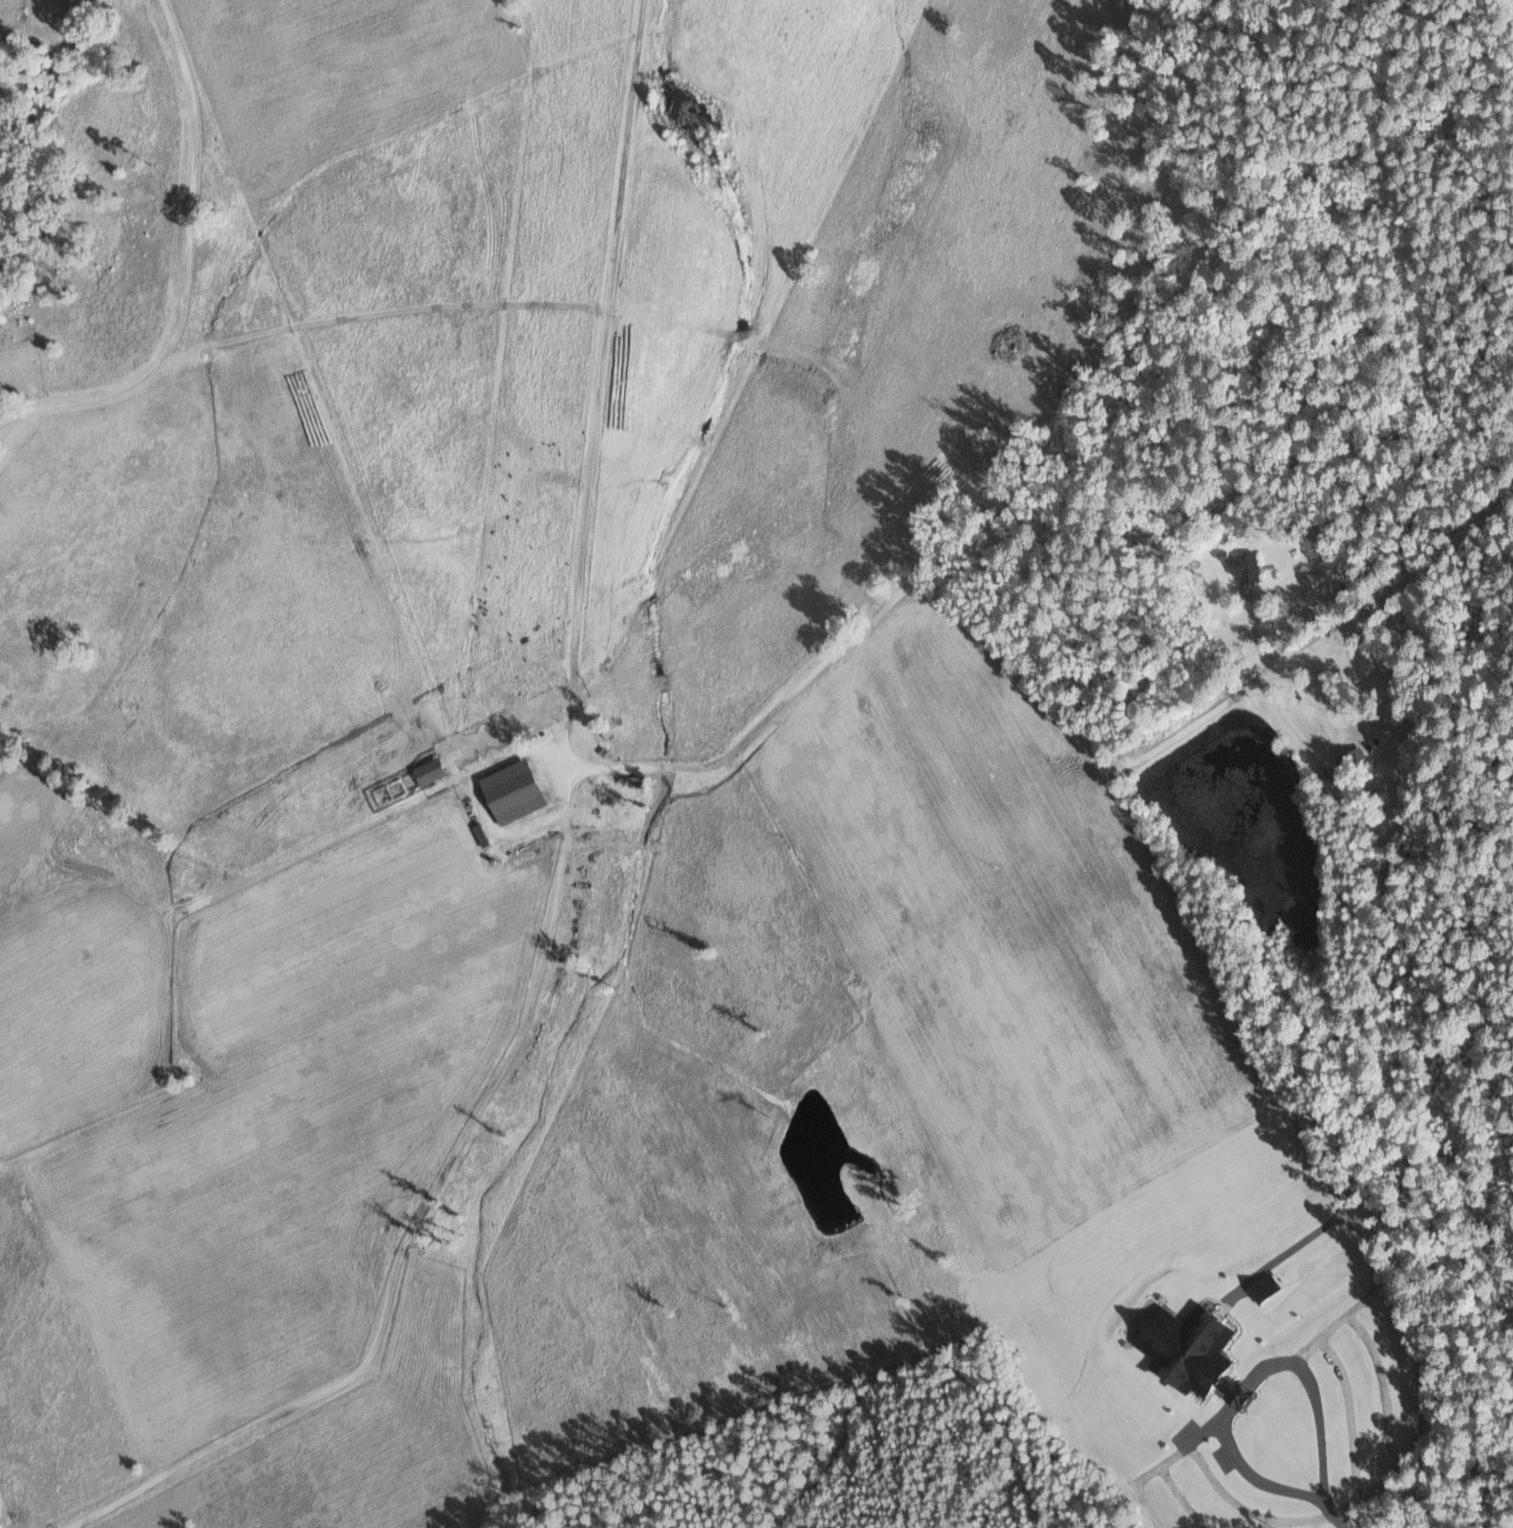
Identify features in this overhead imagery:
building: (1245, 568)
building: (429, 772)
building: (511, 792)
building: (1192, 1353)

